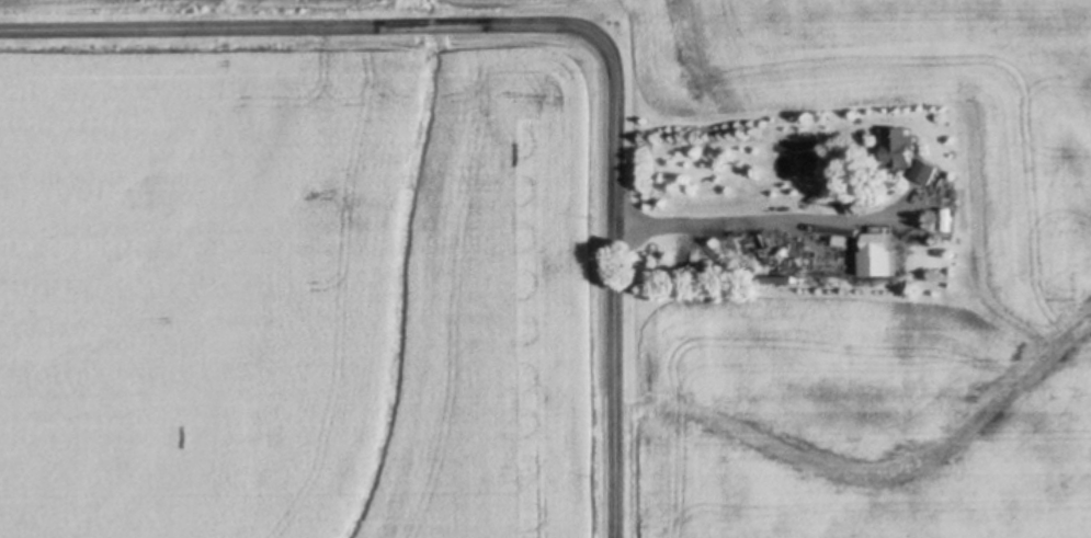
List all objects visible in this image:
road: (552, 25)
building: (900, 148)
building: (844, 169)
building: (928, 172)
road: (751, 220)
building: (883, 255)
building: (780, 281)

